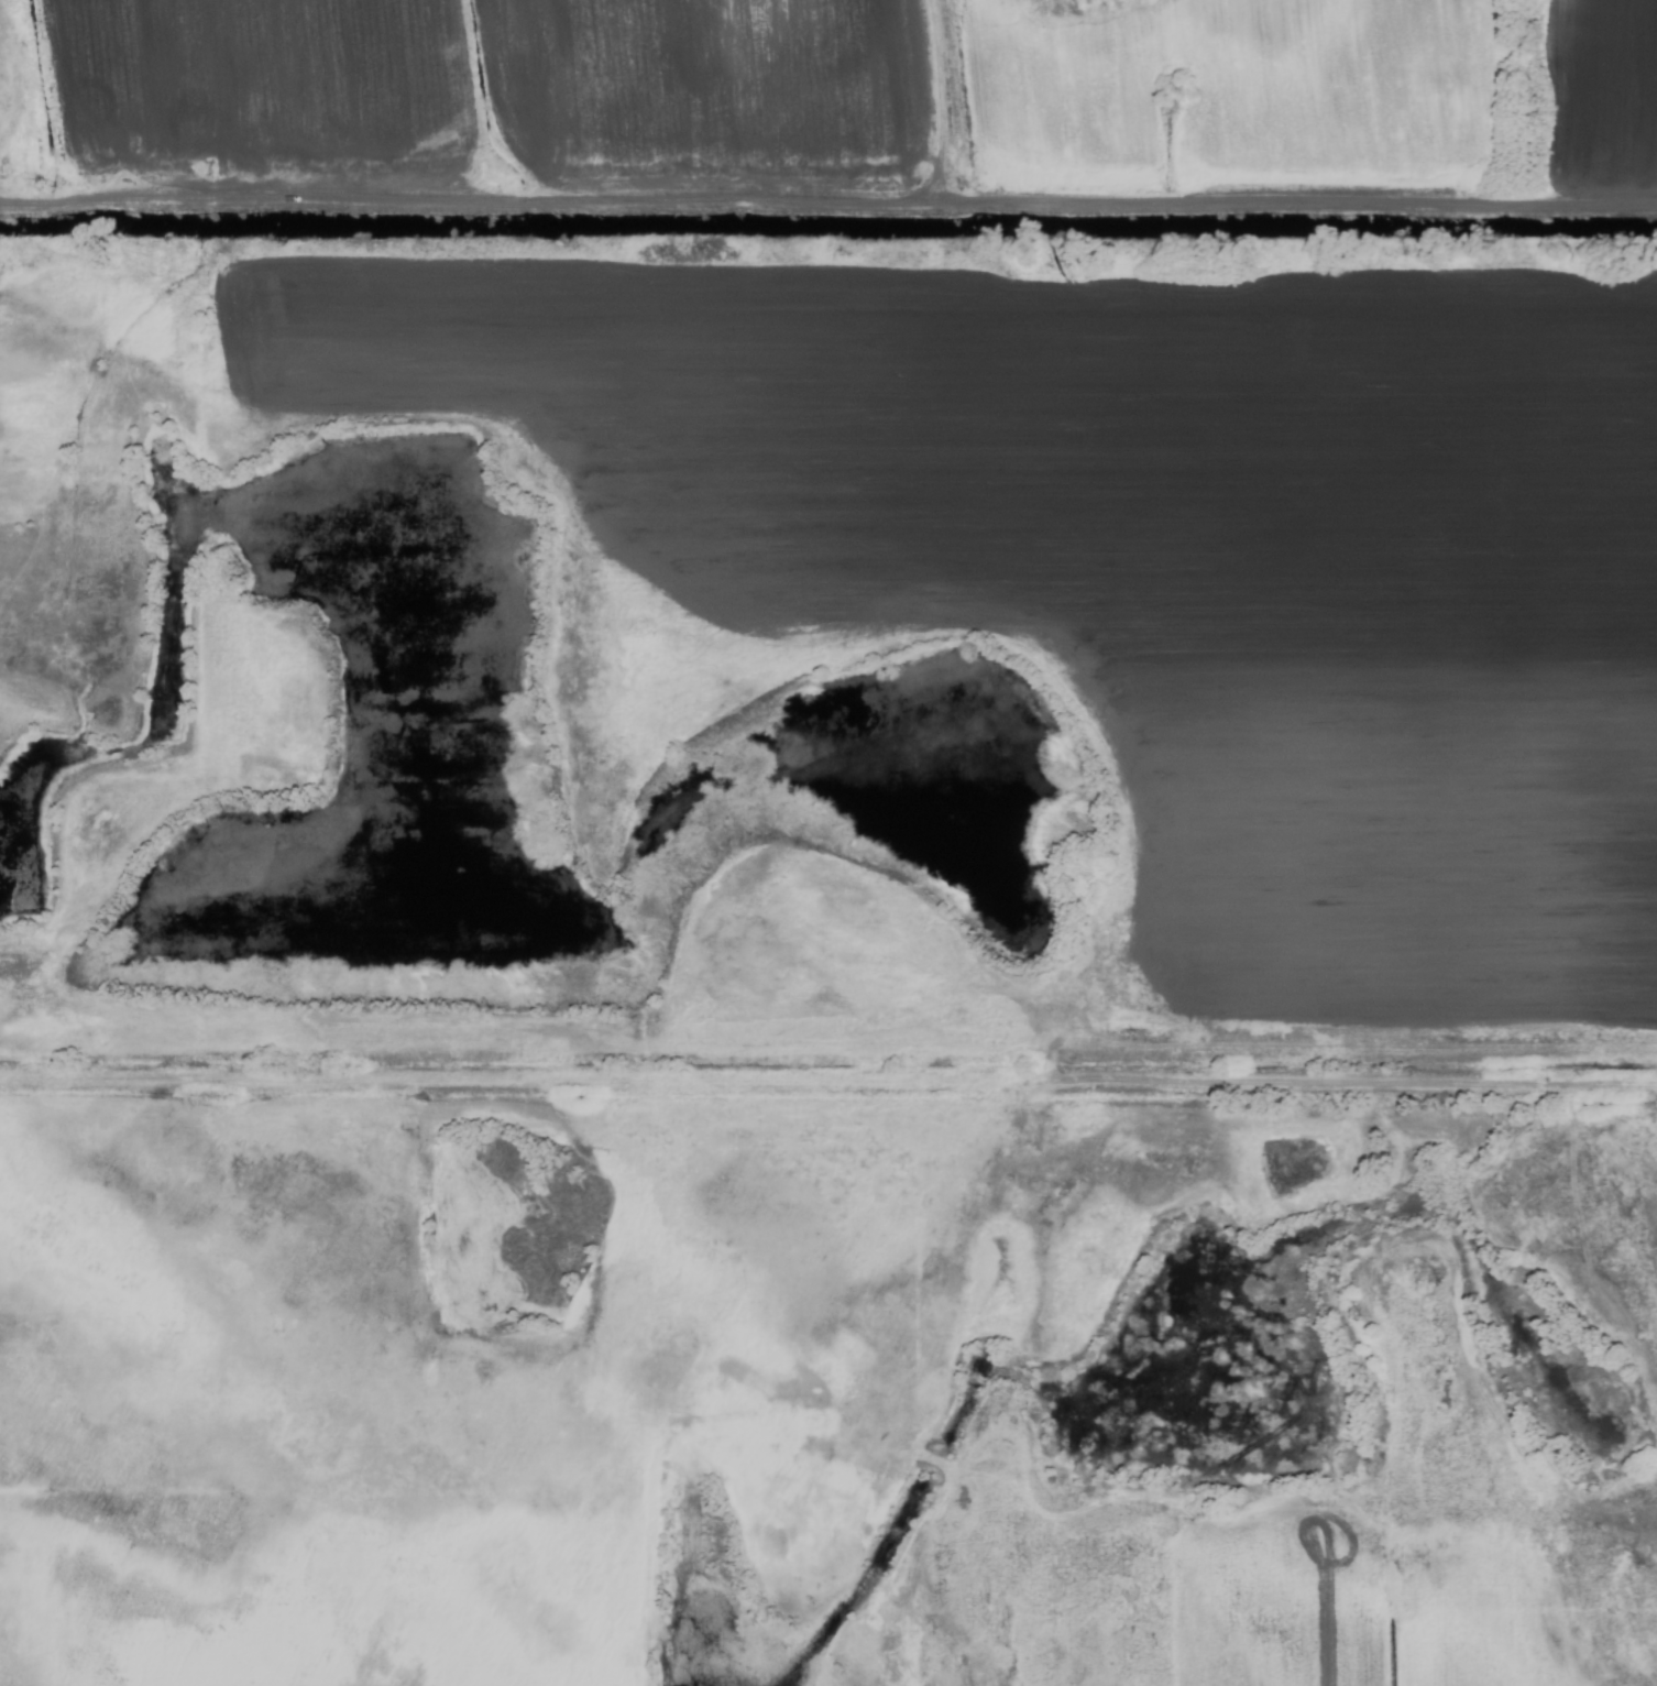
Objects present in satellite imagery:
crop: (828, 843)

